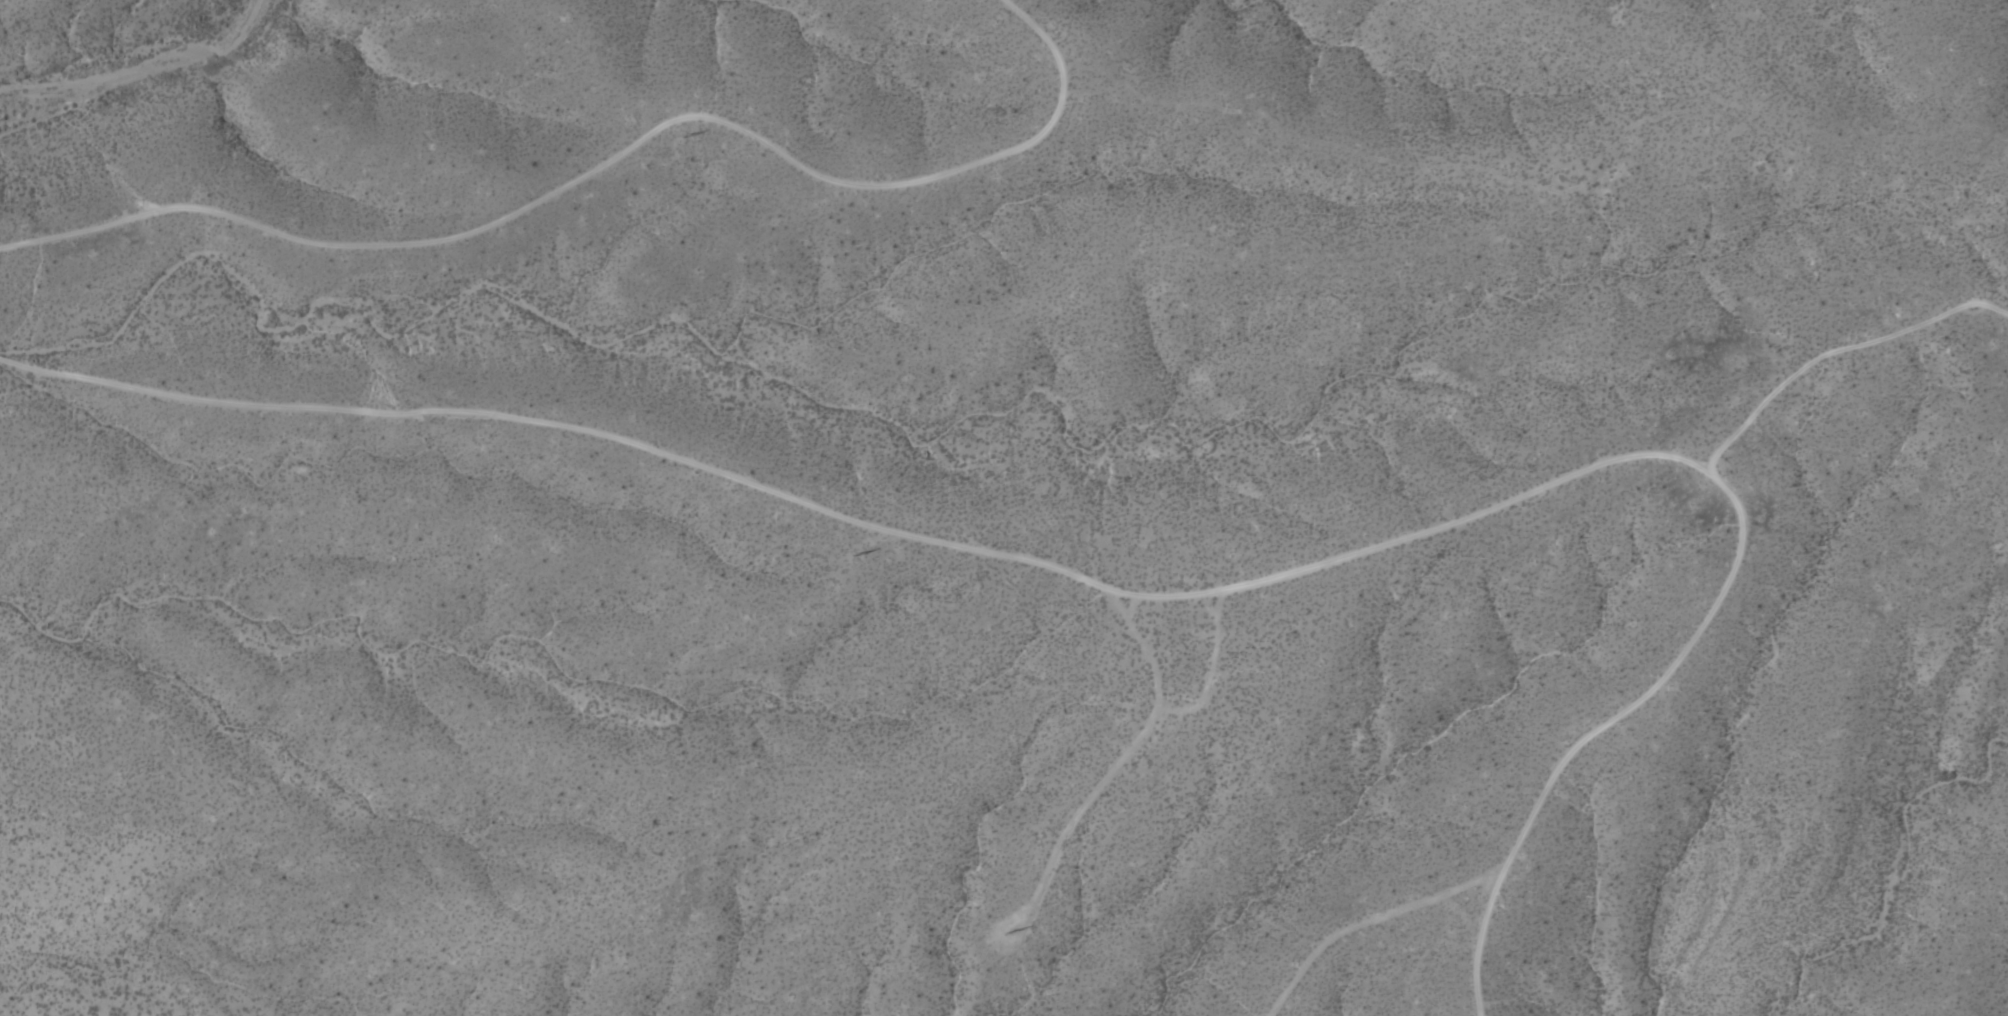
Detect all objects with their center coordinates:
road: (606, 160)
road: (1175, 591)
power tower: (1007, 935)

